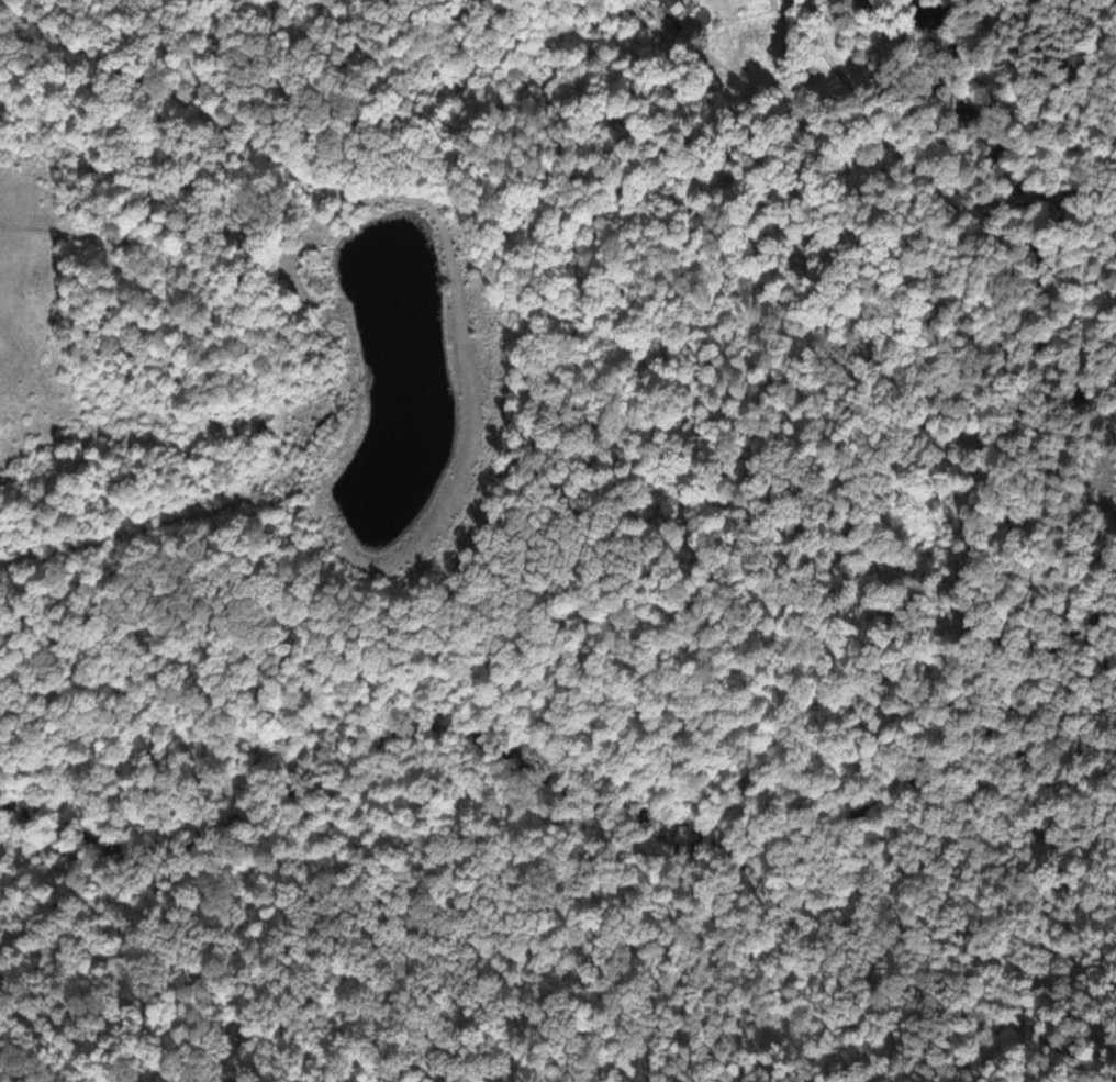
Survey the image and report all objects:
building: (663, 2)
building: (779, 5)
road: (1009, 197)
road: (1080, 268)
road: (1040, 580)

